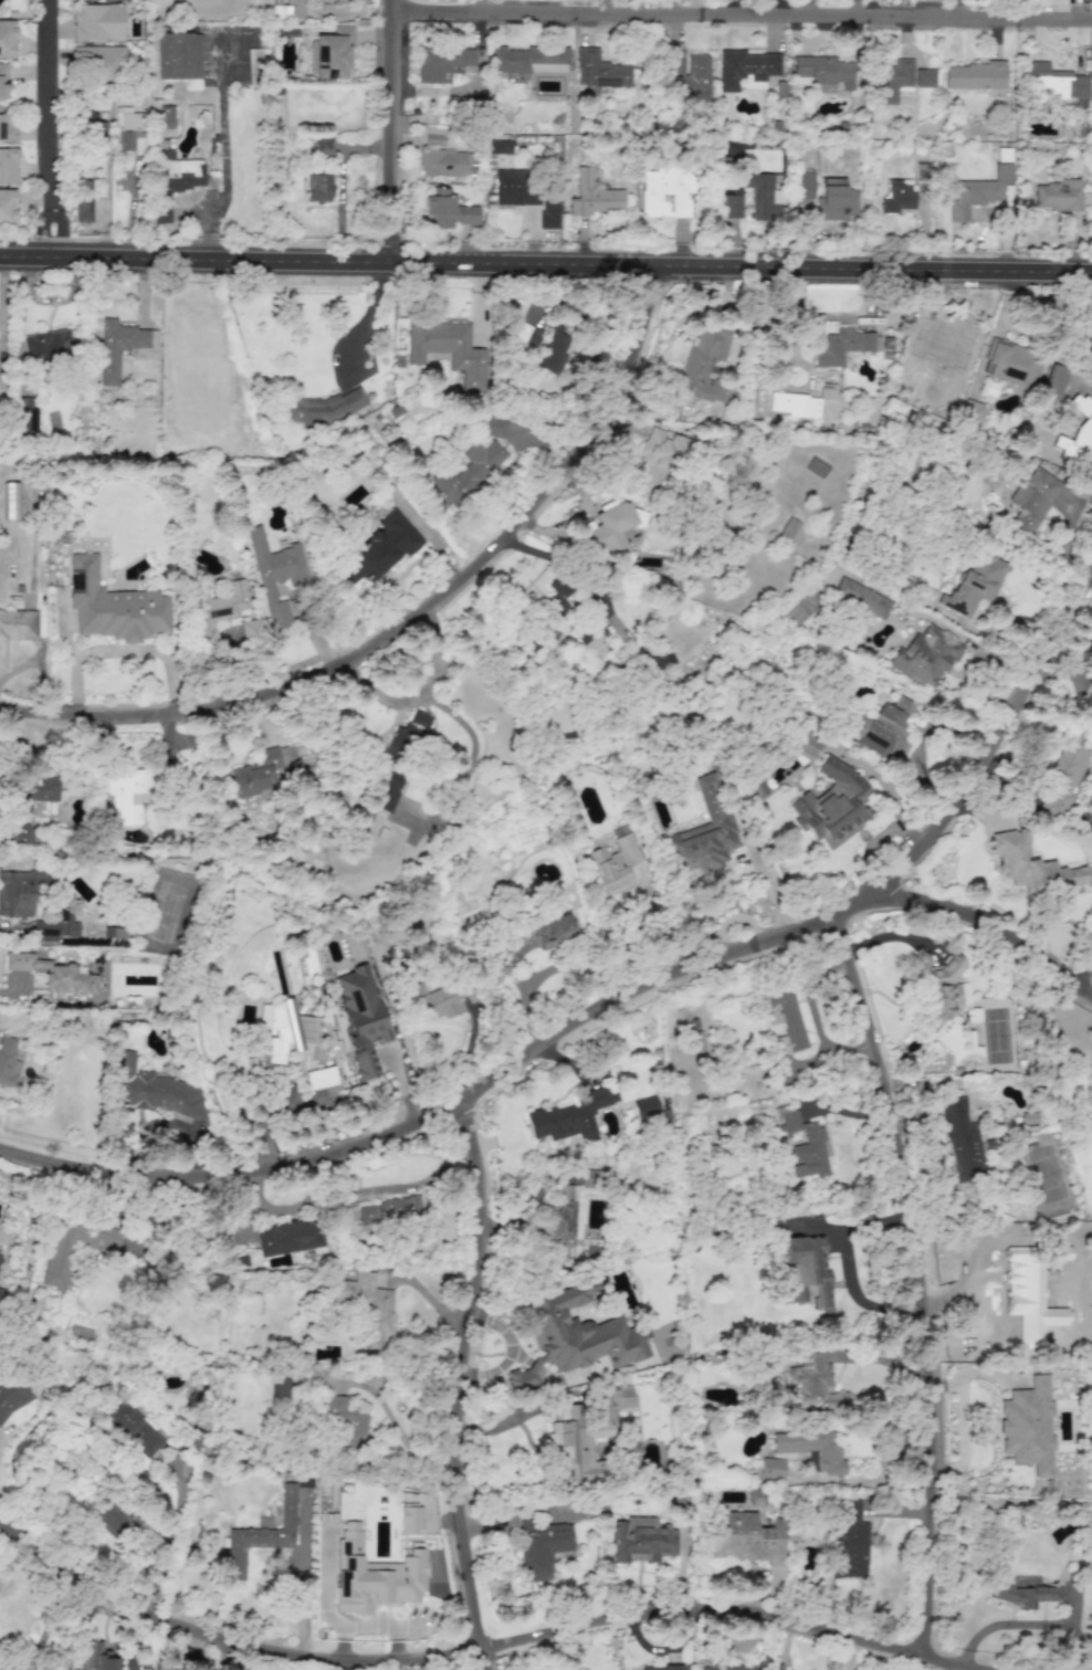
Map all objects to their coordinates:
road: (952, 9)
building: (288, 10)
road: (741, 13)
building: (96, 22)
building: (7, 39)
building: (330, 53)
building: (254, 57)
building: (529, 59)
building: (101, 62)
building: (443, 64)
building: (745, 69)
building: (599, 70)
building: (825, 73)
building: (690, 74)
building: (974, 75)
building: (924, 77)
building: (892, 80)
building: (2, 81)
building: (1052, 82)
building: (166, 117)
building: (7, 127)
road: (44, 128)
building: (93, 130)
road: (388, 130)
building: (322, 147)
building: (500, 147)
road: (223, 148)
building: (442, 156)
building: (8, 166)
building: (923, 171)
building: (179, 172)
building: (804, 185)
building: (316, 187)
building: (515, 188)
building: (666, 191)
building: (978, 192)
building: (1058, 195)
building: (592, 196)
building: (763, 196)
building: (897, 197)
building: (836, 200)
building: (733, 206)
building: (7, 207)
building: (83, 210)
building: (447, 210)
building: (549, 211)
building: (161, 213)
building: (1091, 229)
road: (546, 264)
building: (526, 335)
building: (46, 345)
building: (842, 346)
building: (123, 347)
building: (448, 349)
building: (554, 351)
building: (1012, 364)
building: (706, 365)
building: (1090, 374)
building: (1053, 381)
building: (795, 405)
building: (322, 407)
building: (973, 413)
building: (24, 416)
building: (493, 427)
building: (1078, 435)
building: (658, 456)
building: (469, 472)
building: (1033, 498)
building: (10, 501)
building: (610, 528)
building: (788, 528)
building: (380, 548)
road: (567, 560)
building: (275, 574)
building: (974, 585)
building: (557, 597)
building: (861, 598)
building: (113, 606)
building: (220, 606)
road: (417, 619)
building: (19, 623)
building: (252, 631)
building: (589, 644)
building: (925, 657)
building: (663, 661)
road: (968, 665)
building: (1091, 704)
building: (885, 729)
building: (808, 744)
building: (396, 763)
building: (177, 773)
building: (256, 773)
building: (1063, 777)
building: (128, 794)
building: (29, 805)
building: (832, 805)
building: (703, 833)
building: (617, 865)
building: (1033, 866)
building: (19, 892)
building: (55, 927)
road: (983, 928)
building: (53, 974)
road: (620, 987)
building: (945, 989)
building: (433, 1001)
building: (360, 1018)
building: (786, 1018)
building: (287, 1032)
building: (696, 1041)
building: (8, 1061)
building: (321, 1076)
building: (151, 1090)
building: (645, 1107)
building: (570, 1115)
building: (1028, 1117)
building: (962, 1141)
building: (806, 1146)
building: (591, 1179)
building: (560, 1226)
building: (1014, 1230)
building: (288, 1237)
building: (0, 1254)
building: (56, 1269)
building: (808, 1271)
road: (921, 1280)
building: (1009, 1284)
building: (0, 1292)
building: (367, 1304)
building: (575, 1335)
road: (463, 1380)
building: (812, 1383)
building: (281, 1386)
building: (17, 1393)
road: (519, 1416)
building: (348, 1419)
building: (1028, 1426)
building: (133, 1429)
building: (585, 1431)
road: (402, 1436)
building: (812, 1448)
building: (771, 1468)
building: (566, 1512)
building: (410, 1521)
building: (744, 1537)
road: (169, 1538)
building: (642, 1540)
building: (254, 1543)
building: (850, 1544)
building: (542, 1547)
building: (374, 1574)
building: (1025, 1592)
road: (301, 1603)
road: (49, 1619)
road: (1022, 1622)
road: (1086, 1642)
building: (96, 1657)
road: (472, 1657)
building: (664, 1667)
building: (724, 1667)

